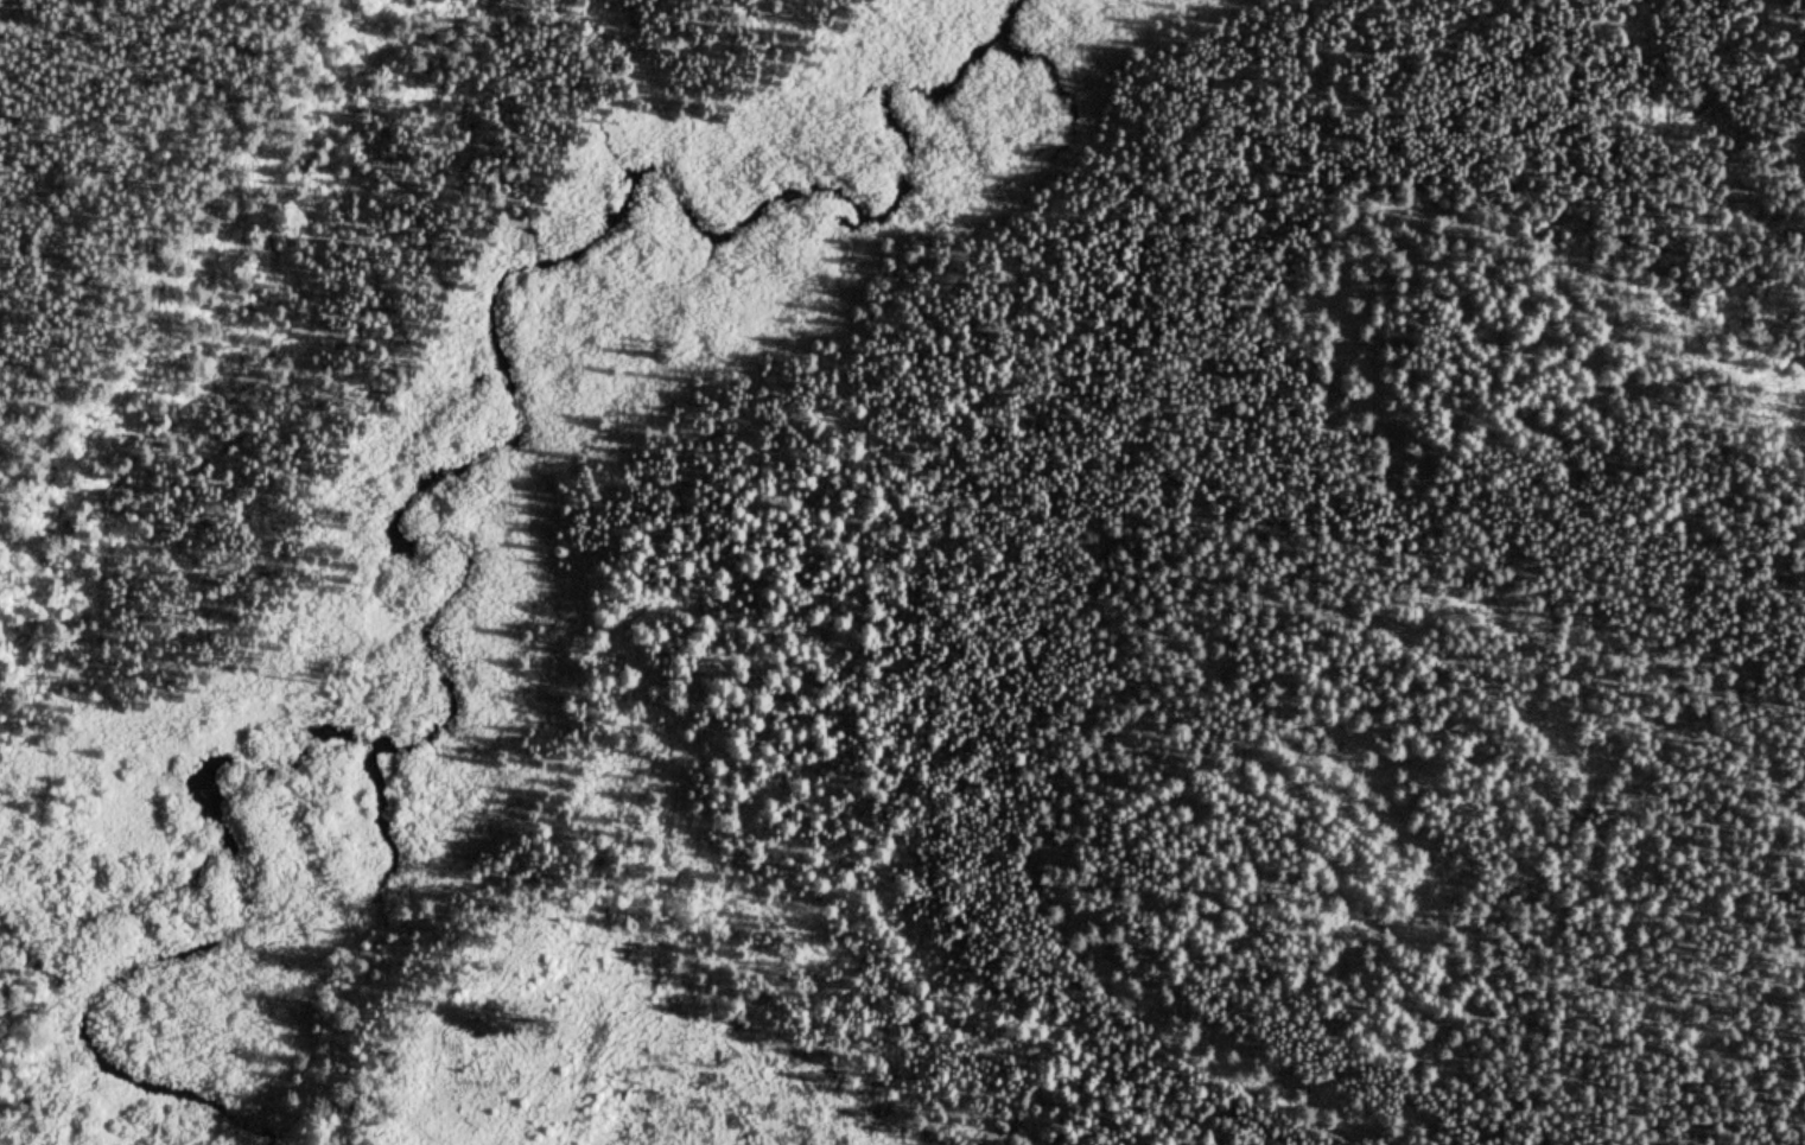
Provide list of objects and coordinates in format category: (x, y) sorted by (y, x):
river: (490, 375)
river: (122, 1000)

